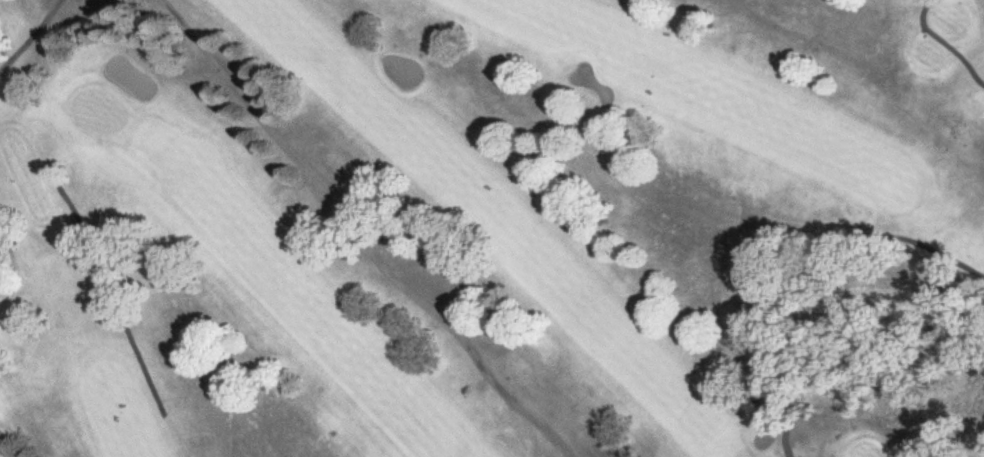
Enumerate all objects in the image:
park: (492, 228)

